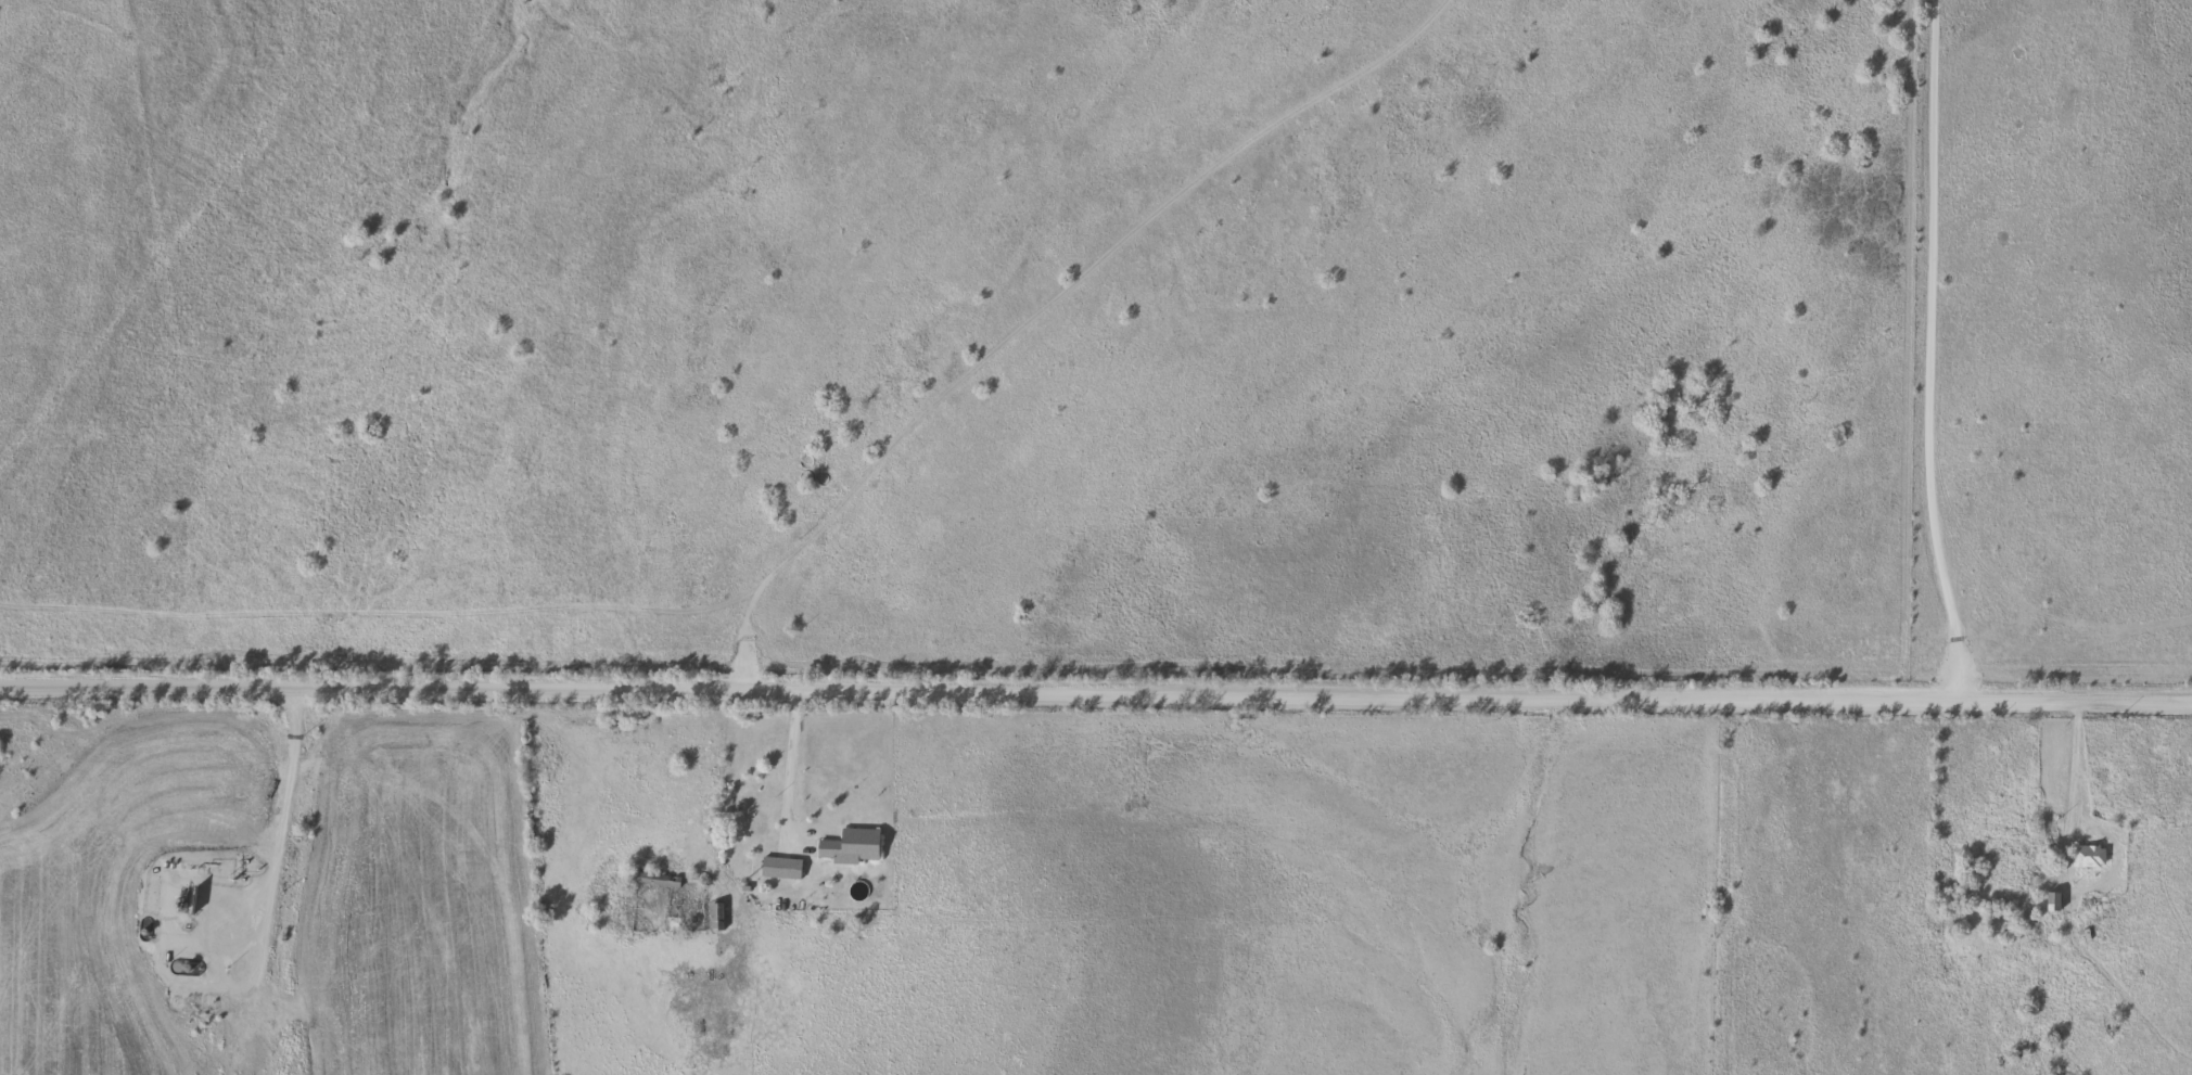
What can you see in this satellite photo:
road: (1061, 332)
road: (1924, 351)
road: (1096, 688)
road: (792, 757)
road: (279, 819)
building: (743, 831)
building: (2081, 859)
building: (769, 869)
building: (654, 882)
building: (712, 919)

